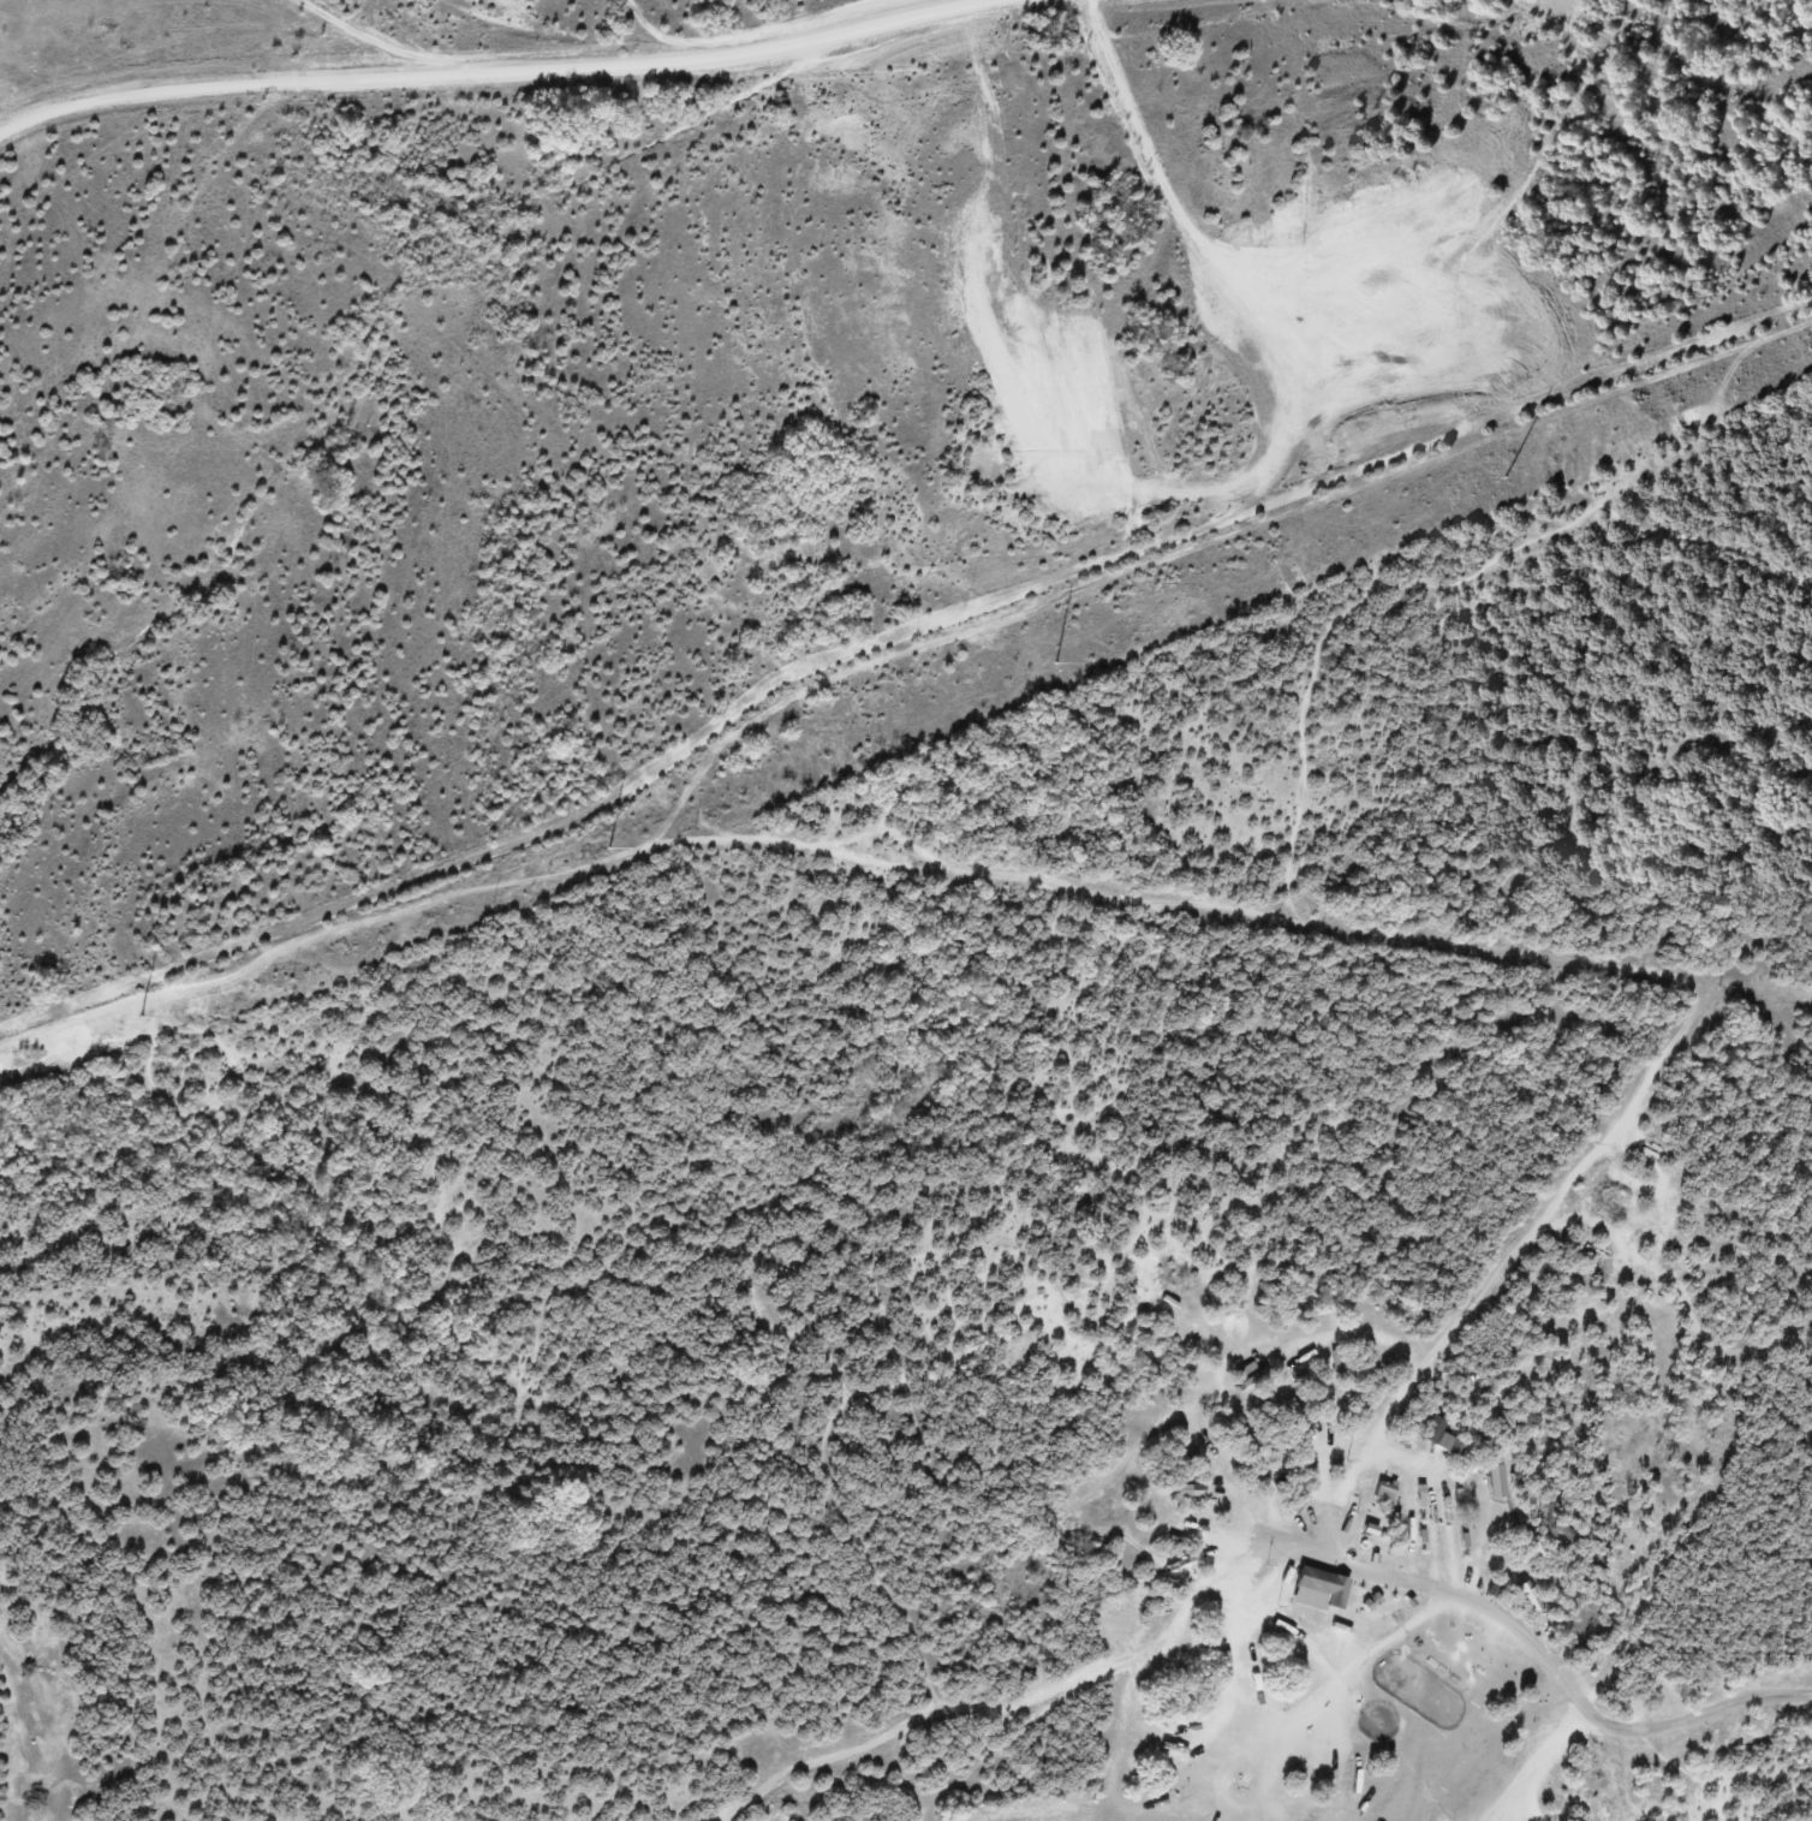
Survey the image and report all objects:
road: (472, 73)
power tower: (1502, 476)
power tower: (1057, 661)
power tower: (609, 845)
power tower: (142, 1016)
building: (1441, 1434)
road: (1363, 1454)
building: (1496, 1478)
building: (1188, 1488)
building: (1385, 1489)
building: (1421, 1493)
building: (1319, 1587)
road: (1556, 1665)
road: (1536, 1758)

